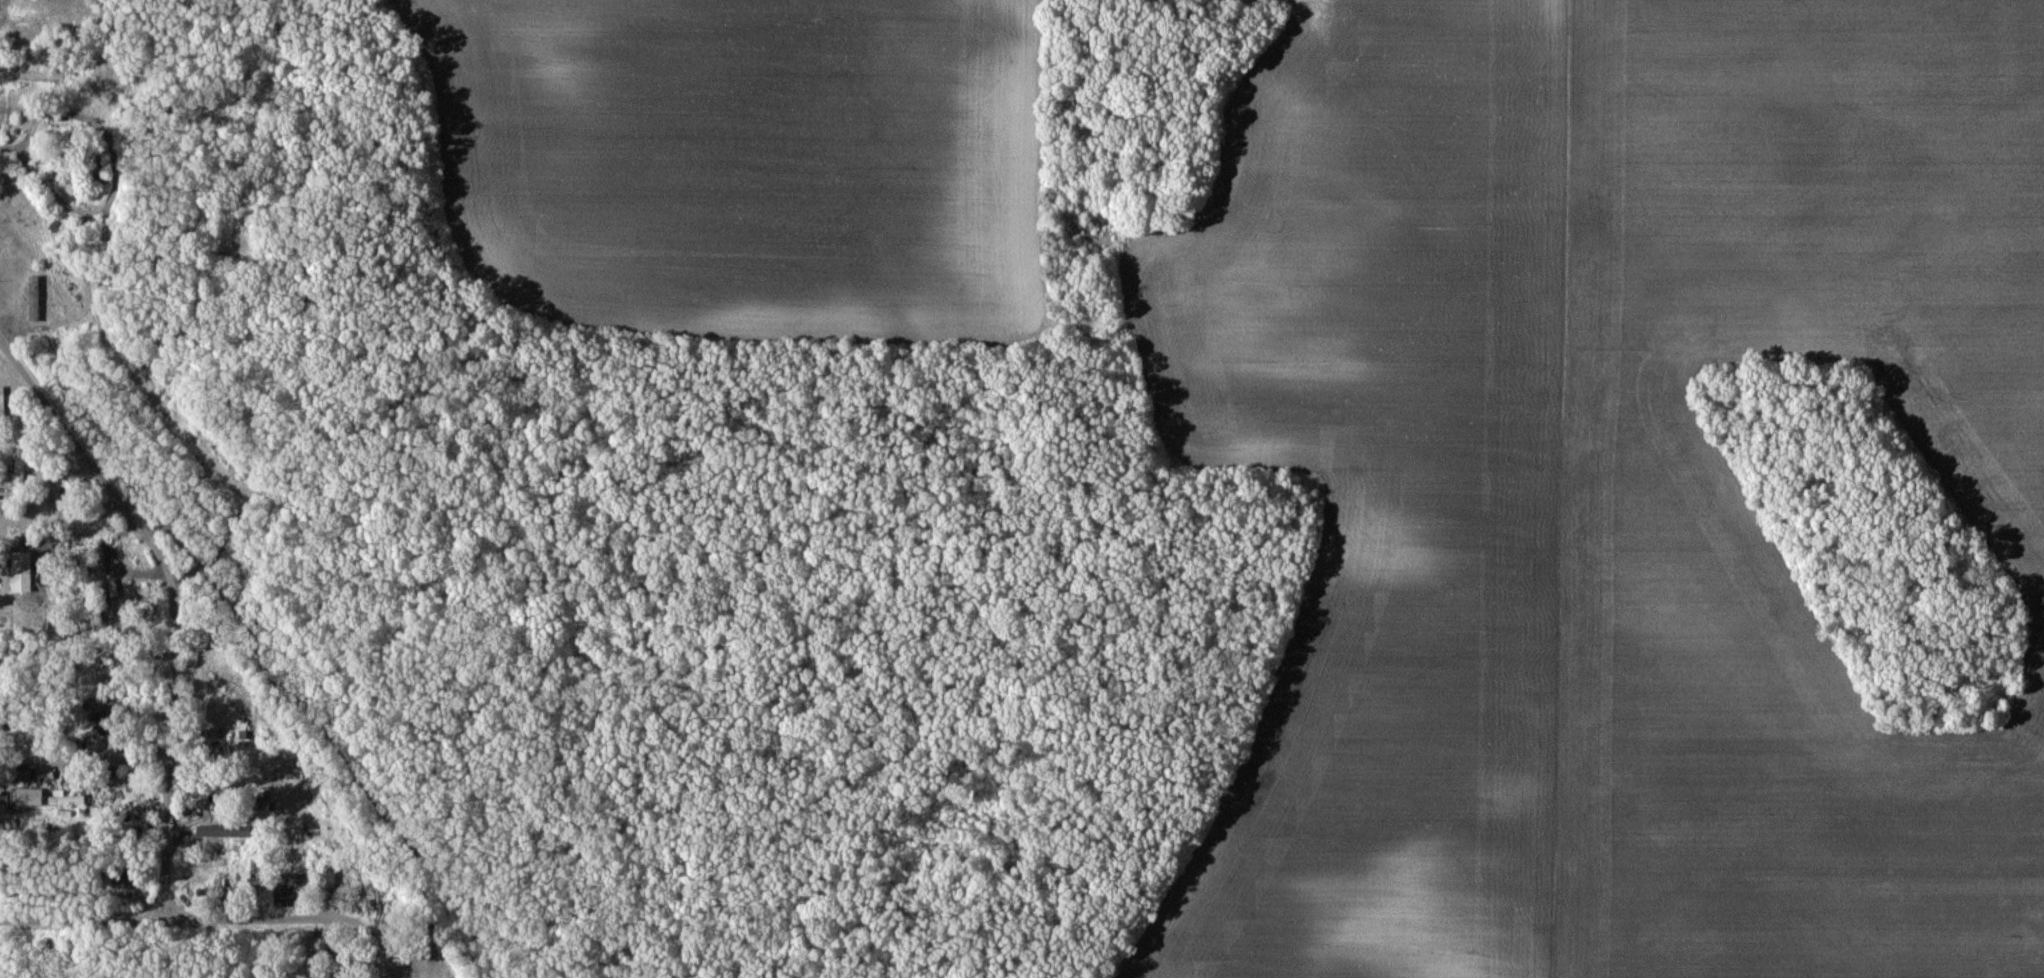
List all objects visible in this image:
road: (120, 176)
building: (33, 298)
building: (19, 460)
road: (103, 473)
building: (21, 572)
building: (109, 589)
road: (84, 754)
road: (168, 768)
building: (66, 802)
building: (327, 877)
road: (151, 915)
road: (365, 917)

